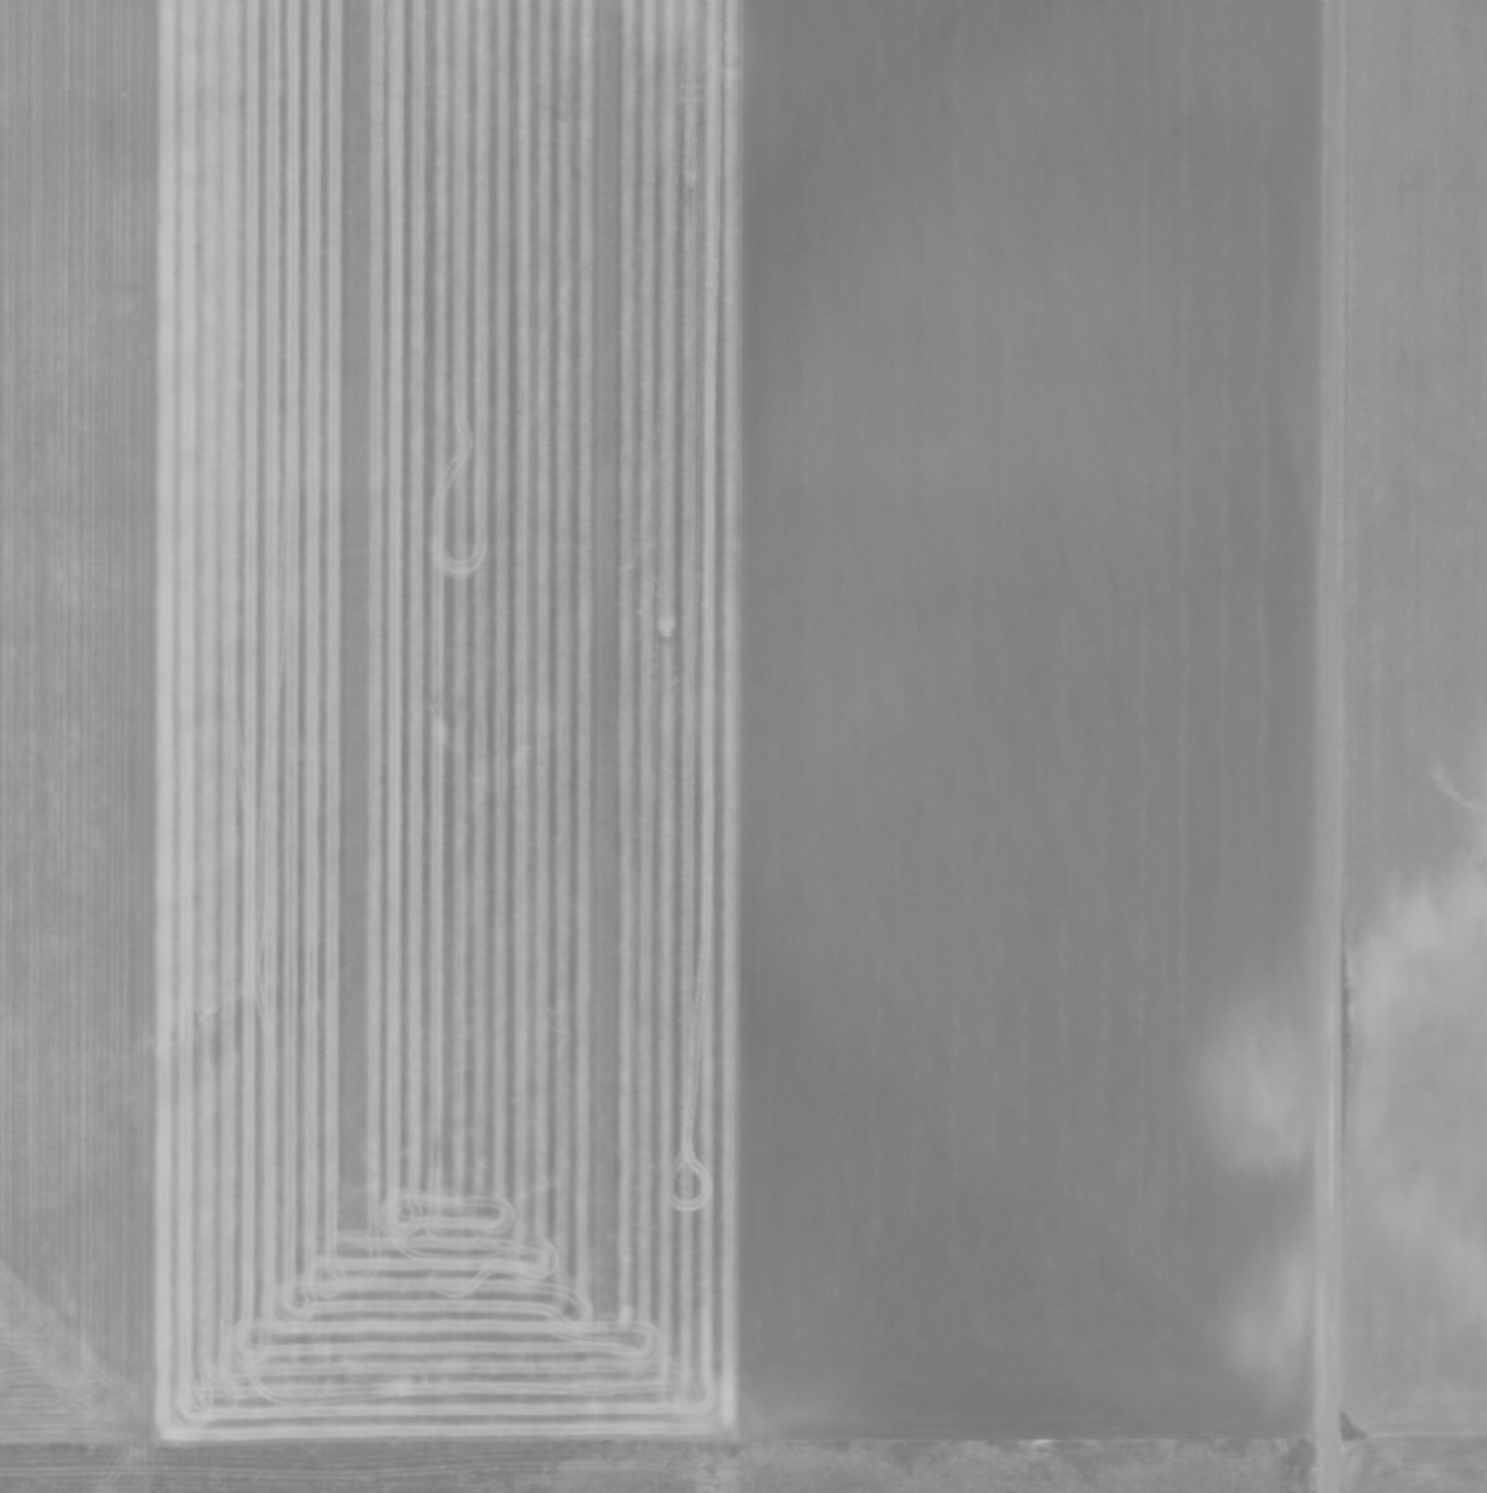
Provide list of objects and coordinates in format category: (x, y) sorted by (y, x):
crop: (656, 717)
road: (1331, 746)
crop: (1419, 752)

